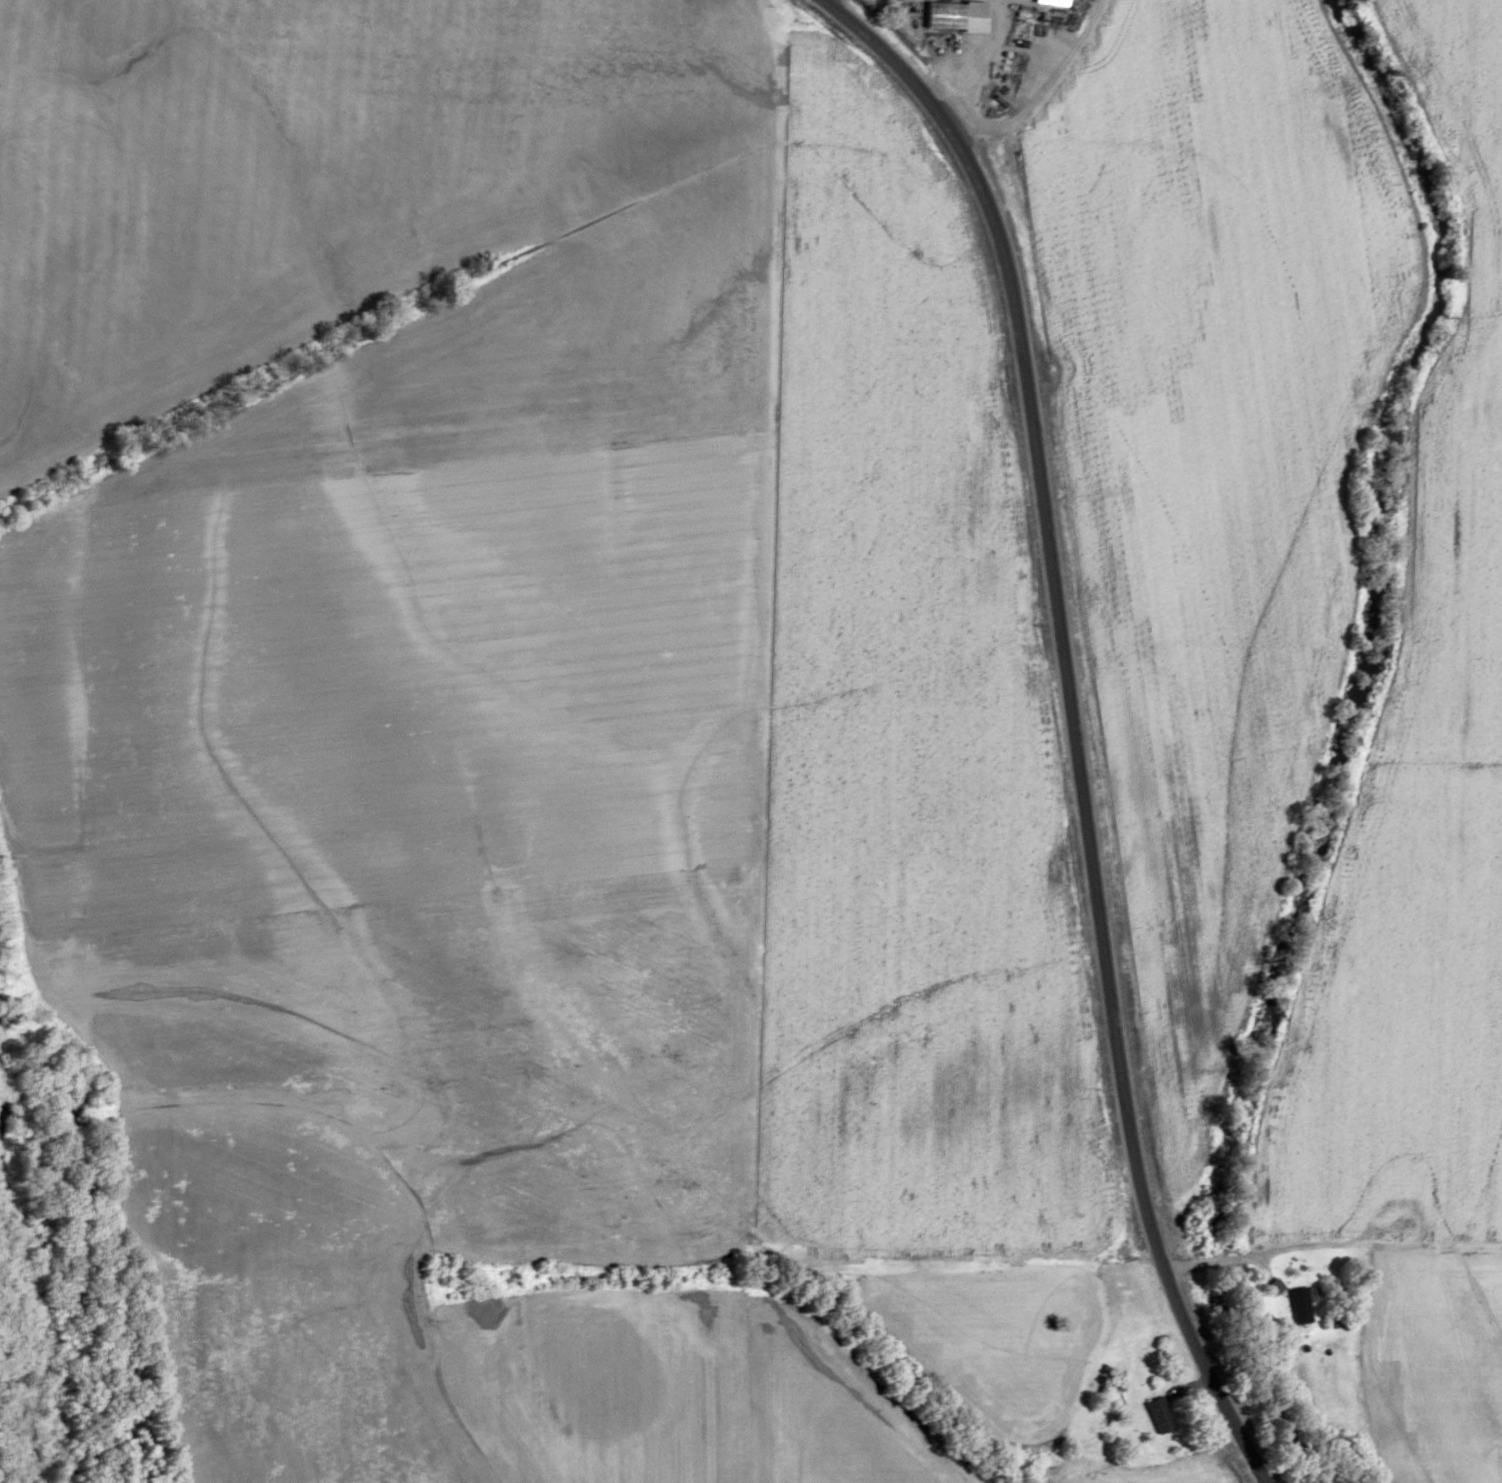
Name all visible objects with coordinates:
building: (951, 16)
road: (1048, 722)
building: (1336, 1320)
building: (1158, 1414)

